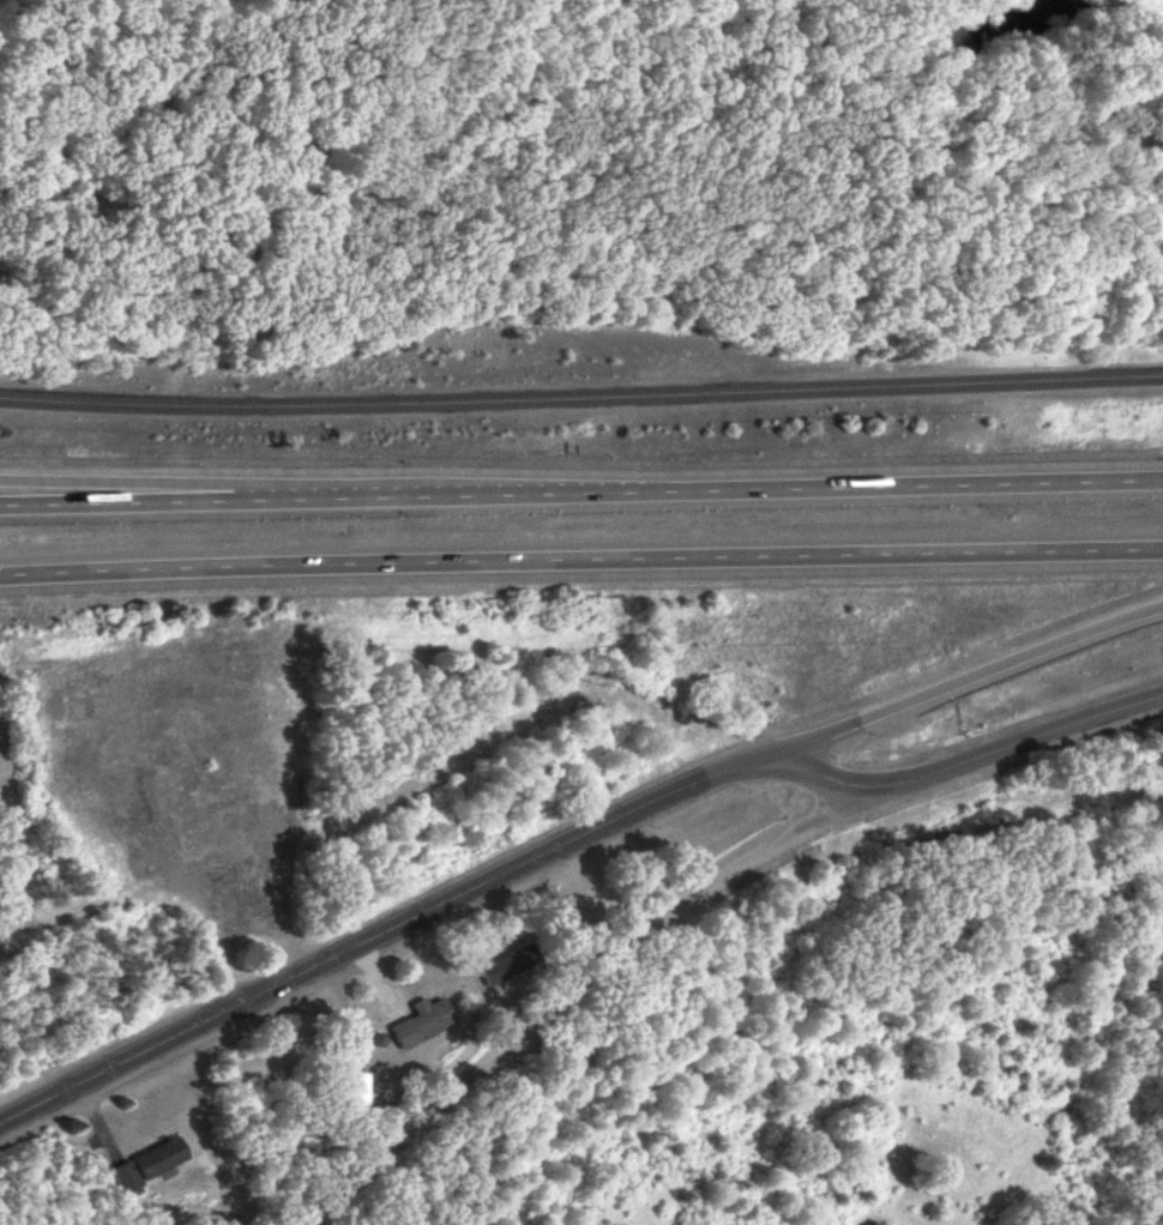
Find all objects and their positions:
park: (576, 183)
road: (581, 403)
road: (122, 485)
road: (581, 493)
road: (580, 565)
road: (970, 676)
building: (31, 713)
road: (1023, 741)
road: (828, 776)
road: (387, 934)
building: (502, 966)
road: (584, 986)
building: (421, 1021)
building: (352, 1092)
building: (145, 1164)

